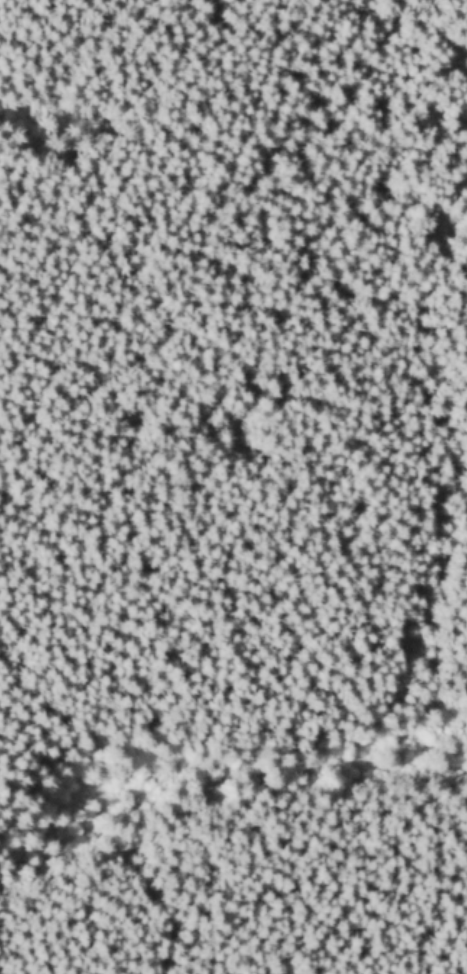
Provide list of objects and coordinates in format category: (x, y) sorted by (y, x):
road: (144, 172)

